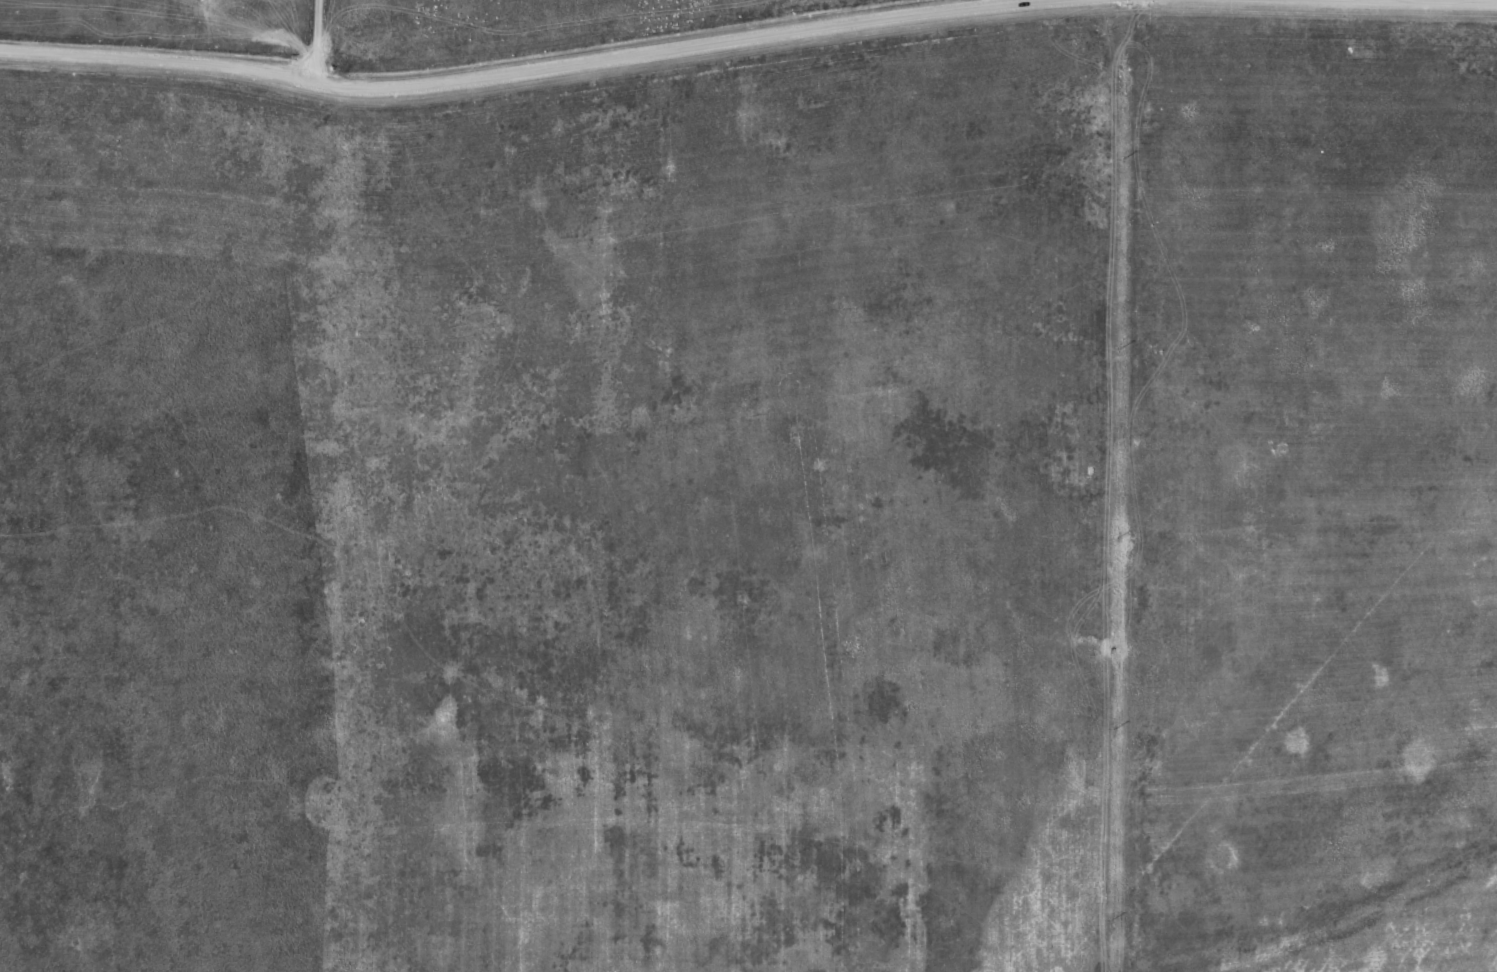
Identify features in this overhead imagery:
road: (337, 41)
road: (522, 70)

